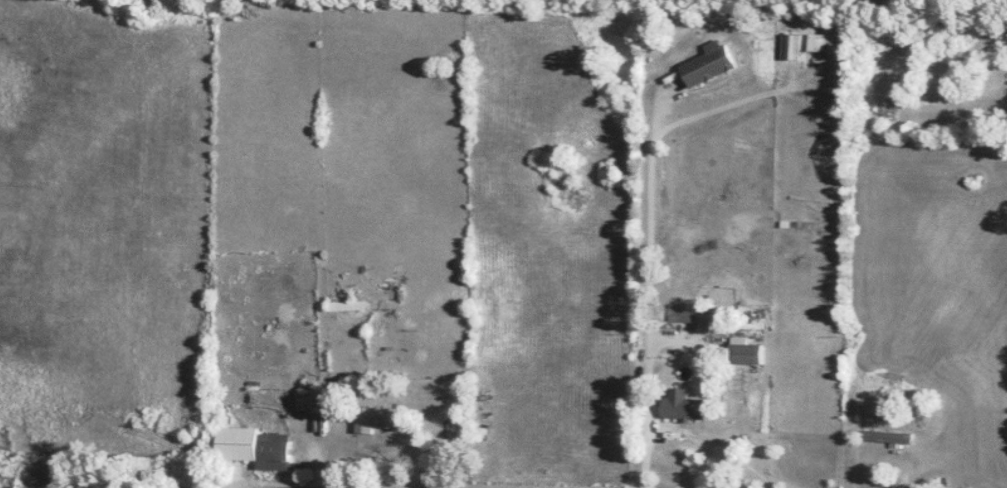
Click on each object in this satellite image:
building: (1002, 32)
building: (710, 63)
road: (649, 207)
building: (357, 305)
building: (687, 312)
building: (747, 353)
building: (682, 405)
building: (381, 419)
building: (891, 437)
road: (688, 438)
building: (254, 447)

